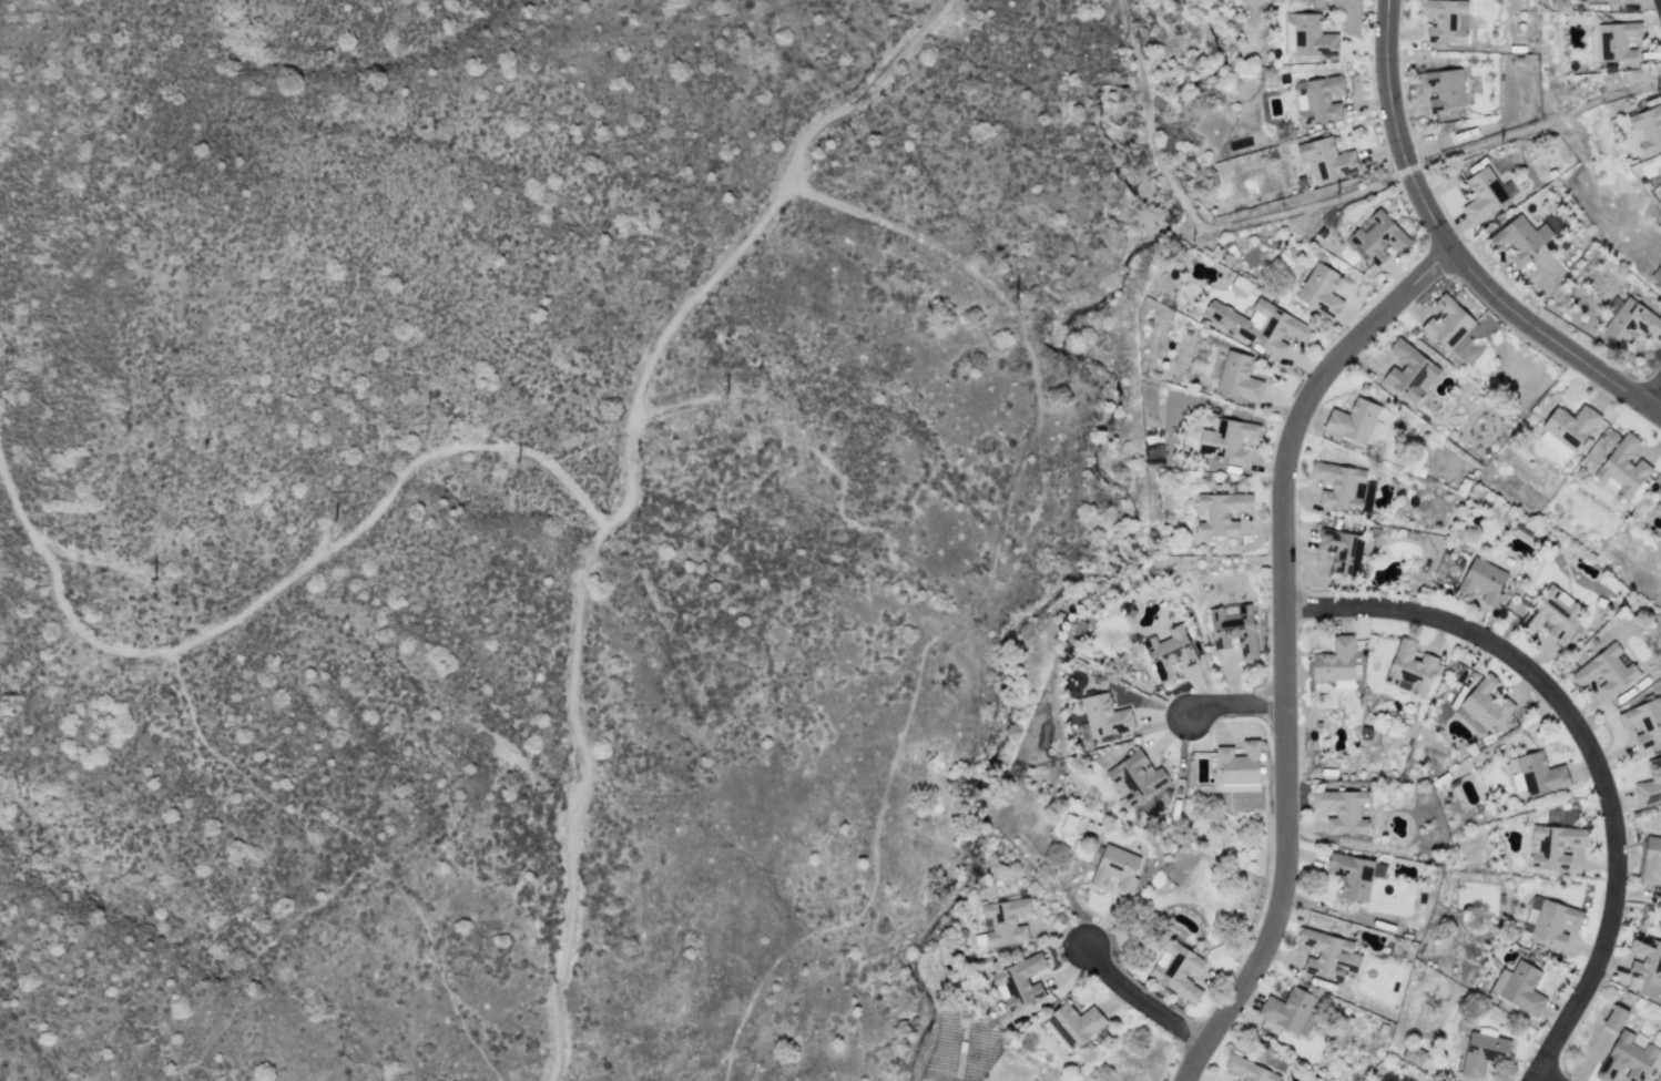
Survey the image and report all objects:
building: (1596, 0)
building: (1443, 20)
building: (1311, 35)
building: (1618, 41)
building: (1448, 88)
building: (1317, 99)
road: (1535, 124)
building: (1648, 128)
building: (1326, 159)
building: (1482, 194)
road: (1194, 217)
building: (1377, 236)
building: (1518, 238)
road: (1450, 252)
building: (1657, 274)
building: (1319, 289)
building: (1631, 322)
building: (1259, 324)
building: (1448, 325)
building: (1408, 370)
building: (1237, 376)
road: (639, 396)
road: (1653, 396)
building: (1352, 420)
building: (1568, 427)
building: (1374, 430)
building: (1227, 439)
building: (1621, 467)
building: (1343, 487)
building: (1659, 507)
building: (1220, 512)
building: (1341, 549)
building: (1480, 580)
road: (258, 603)
building: (1550, 613)
building: (1233, 630)
road: (1284, 647)
building: (1169, 652)
building: (1334, 660)
building: (1410, 667)
building: (1606, 671)
building: (1343, 684)
building: (1485, 702)
road: (1239, 704)
building: (1102, 717)
building: (1643, 720)
road: (1590, 747)
building: (1237, 763)
building: (1540, 774)
building: (1134, 777)
building: (1650, 782)
building: (1342, 809)
building: (1553, 845)
building: (1651, 858)
building: (1115, 866)
building: (1354, 874)
building: (1005, 920)
building: (1549, 920)
building: (1327, 955)
building: (1645, 959)
building: (1176, 969)
building: (1018, 981)
building: (1519, 987)
road: (1142, 1001)
building: (1290, 1010)
building: (1614, 1018)
building: (1073, 1023)
building: (1482, 1051)
building: (1413, 1054)
building: (1629, 1057)
building: (1249, 1069)
road: (1541, 1078)
building: (1230, 1080)

